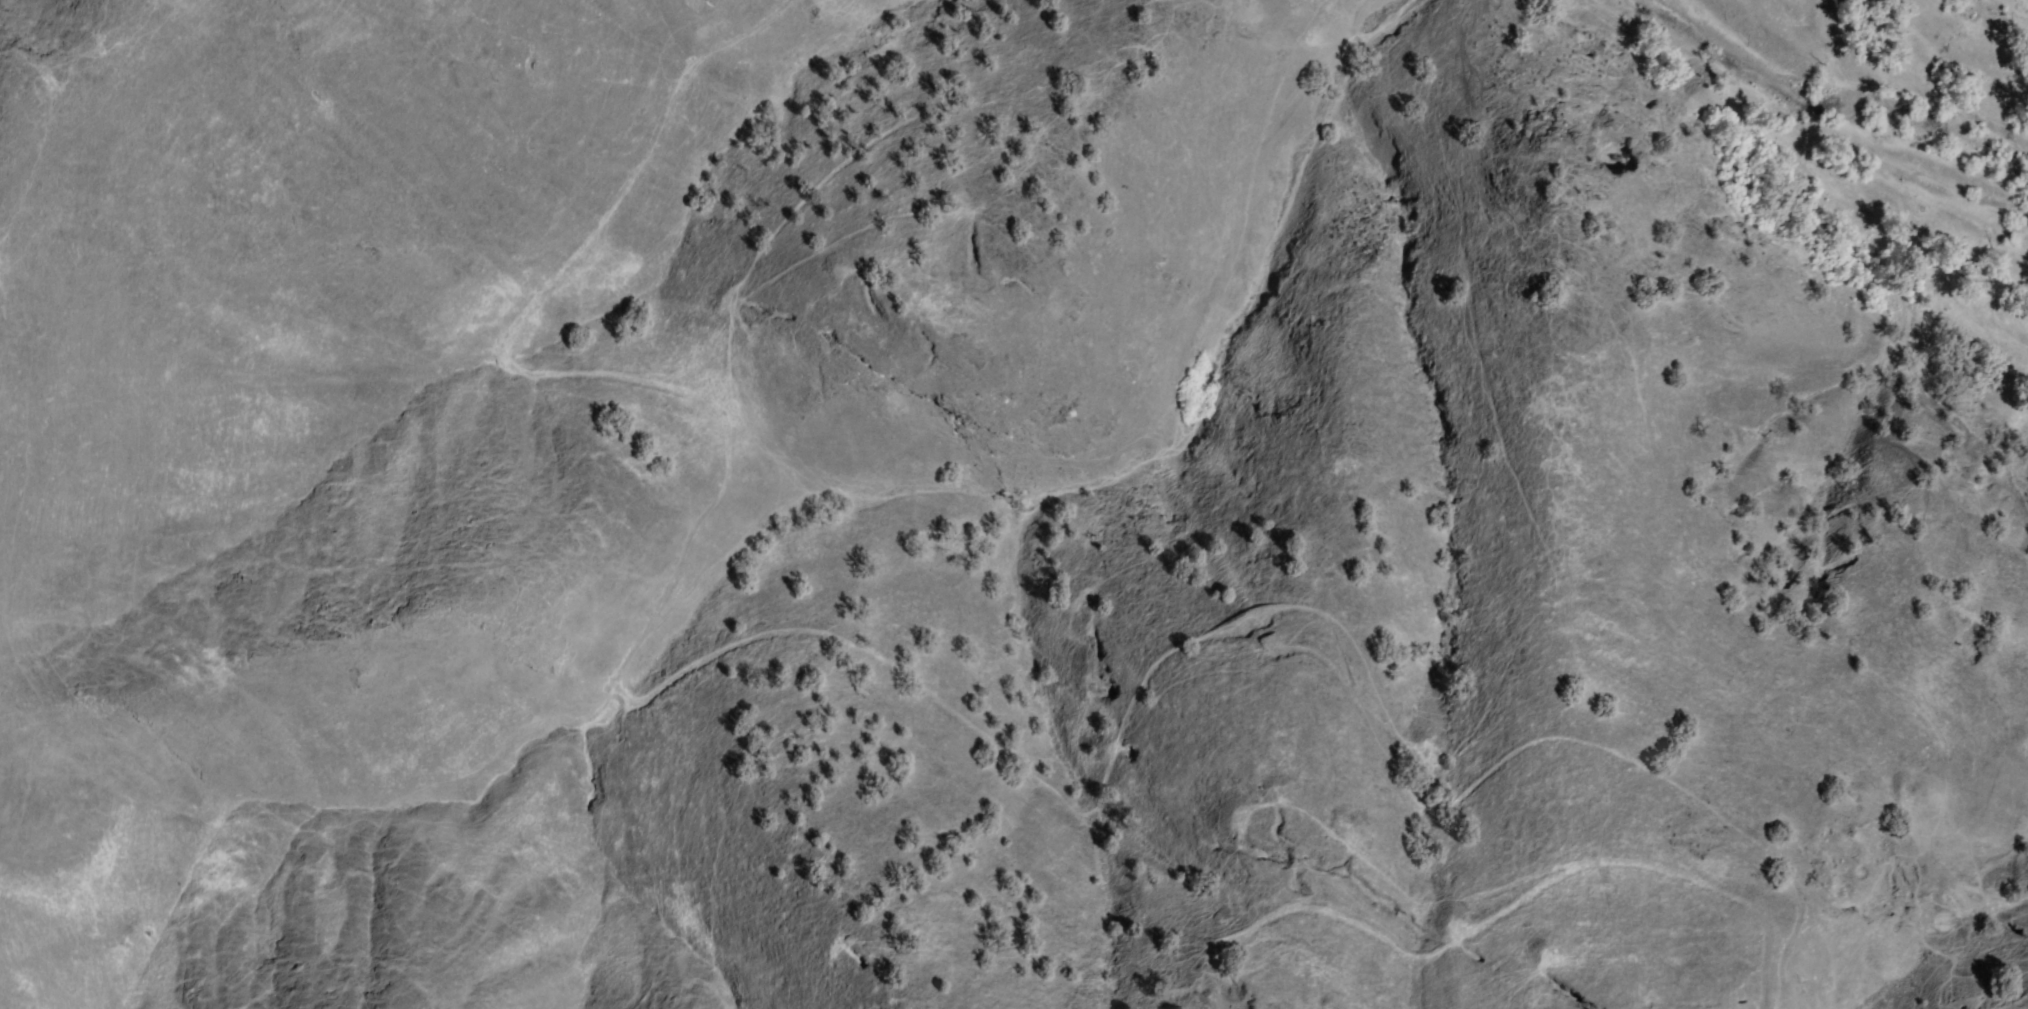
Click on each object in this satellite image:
river: (1824, 97)

